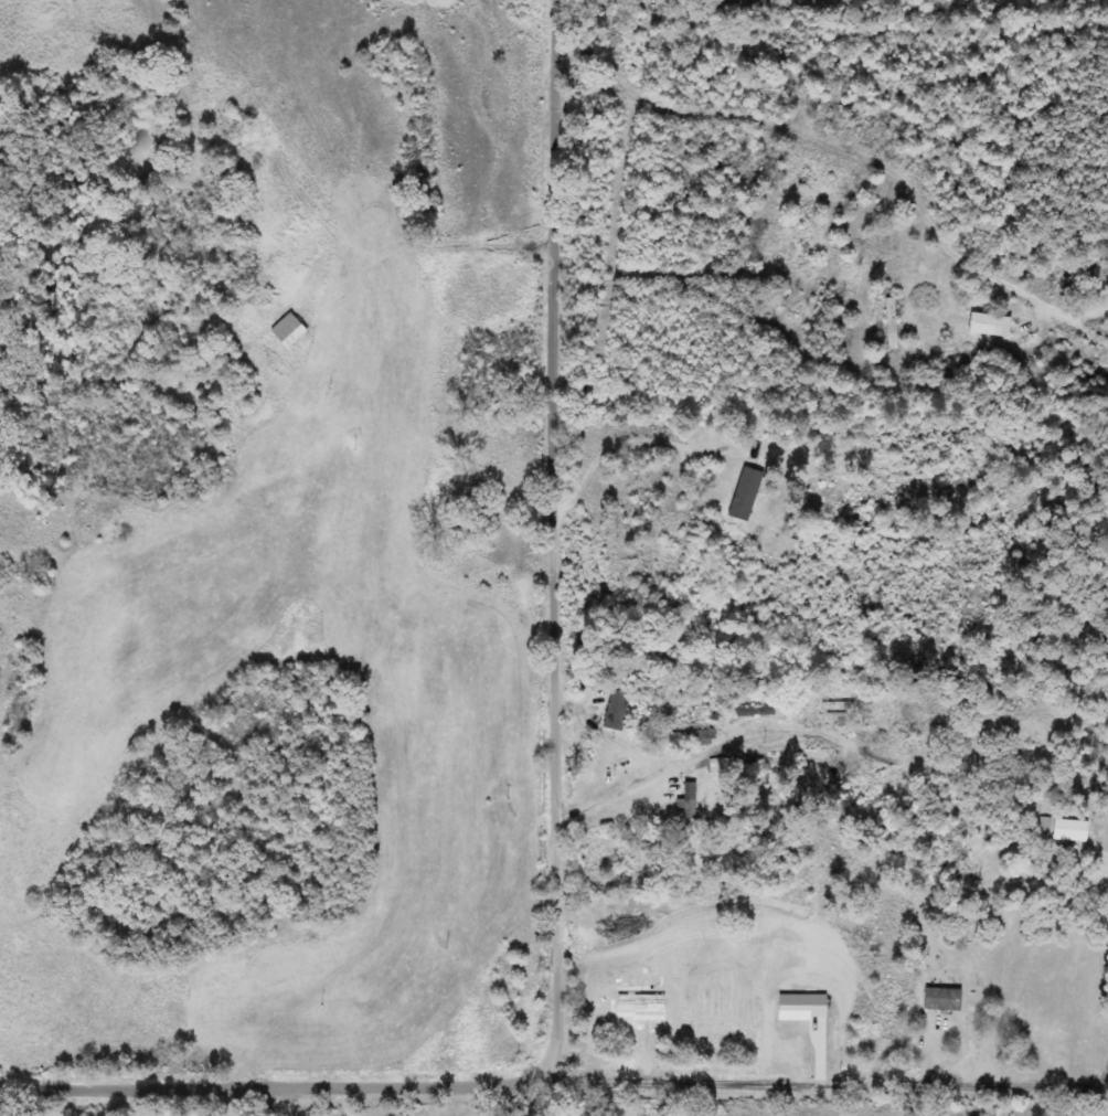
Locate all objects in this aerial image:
building: (987, 326)
building: (286, 331)
building: (744, 493)
road: (553, 538)
building: (616, 710)
building: (756, 712)
building: (843, 712)
building: (693, 737)
building: (685, 806)
building: (1068, 831)
building: (941, 1000)
building: (967, 1051)
road: (824, 1085)
road: (273, 1090)

